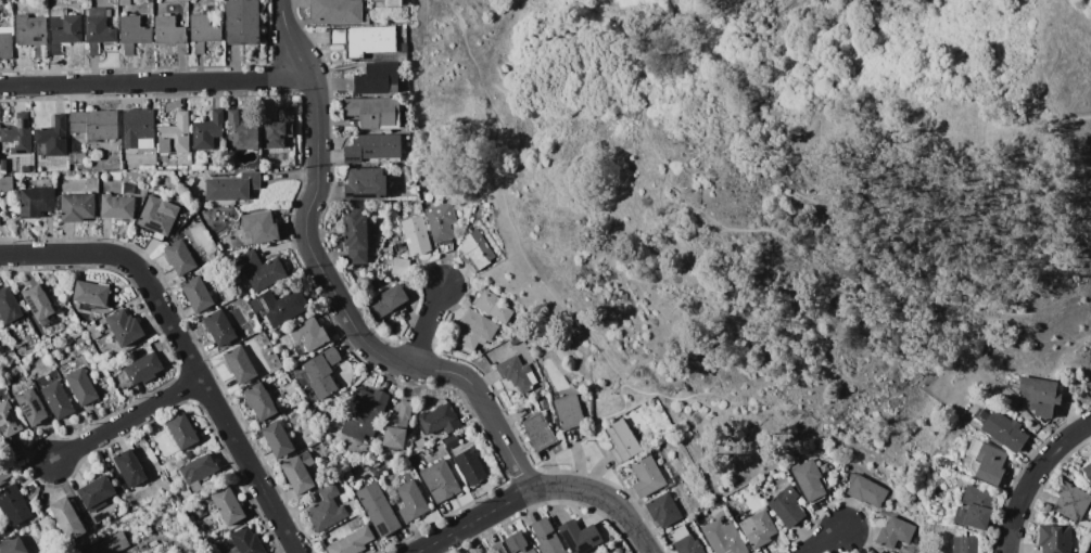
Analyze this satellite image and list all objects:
building: (389, 2)
building: (124, 3)
building: (195, 5)
building: (196, 11)
building: (335, 12)
building: (242, 22)
building: (65, 29)
building: (98, 29)
building: (203, 31)
building: (31, 33)
building: (132, 33)
building: (170, 33)
building: (364, 40)
building: (5, 42)
building: (377, 79)
road: (651, 81)
road: (155, 82)
building: (375, 113)
road: (1082, 117)
building: (94, 124)
building: (138, 128)
building: (207, 130)
building: (279, 130)
building: (241, 131)
building: (178, 132)
building: (18, 134)
building: (51, 138)
building: (164, 145)
building: (373, 147)
building: (77, 158)
building: (190, 163)
building: (90, 182)
building: (5, 183)
building: (365, 184)
building: (232, 187)
building: (128, 189)
park: (791, 200)
road: (798, 201)
building: (37, 202)
road: (505, 206)
building: (77, 207)
building: (117, 207)
building: (479, 211)
building: (182, 216)
building: (155, 217)
building: (489, 217)
building: (443, 227)
building: (259, 228)
building: (355, 235)
building: (415, 236)
building: (227, 241)
building: (477, 249)
building: (179, 257)
building: (261, 269)
building: (395, 270)
road: (334, 287)
building: (91, 293)
building: (196, 295)
building: (38, 301)
building: (386, 301)
building: (9, 306)
building: (230, 306)
building: (282, 306)
building: (493, 306)
road: (429, 325)
building: (125, 326)
building: (218, 327)
building: (475, 330)
building: (93, 331)
building: (308, 334)
building: (515, 340)
road: (185, 347)
building: (2, 349)
building: (240, 364)
road: (702, 366)
building: (143, 369)
building: (322, 373)
building: (517, 373)
building: (497, 385)
building: (81, 386)
building: (290, 388)
building: (1039, 396)
building: (58, 399)
building: (258, 401)
building: (543, 401)
building: (31, 406)
building: (570, 412)
building: (366, 414)
building: (980, 415)
building: (9, 420)
building: (439, 420)
road: (128, 422)
building: (396, 426)
building: (182, 430)
building: (1004, 430)
building: (538, 432)
road: (591, 434)
building: (276, 438)
building: (451, 441)
building: (622, 441)
building: (420, 442)
building: (989, 463)
building: (470, 466)
building: (129, 467)
building: (1088, 471)
building: (199, 472)
building: (300, 472)
building: (5, 475)
building: (647, 475)
building: (808, 478)
road: (1033, 478)
building: (440, 481)
building: (341, 483)
building: (866, 491)
building: (100, 494)
building: (411, 501)
building: (1071, 502)
building: (14, 504)
building: (228, 505)
building: (787, 506)
building: (974, 507)
building: (1048, 507)
building: (378, 509)
road: (499, 509)
building: (326, 510)
building: (663, 510)
building: (200, 513)
road: (624, 514)
building: (67, 517)
building: (99, 517)
building: (758, 528)
building: (5, 531)
building: (895, 532)
building: (546, 537)
building: (579, 537)
building: (724, 538)
building: (1054, 539)
building: (245, 541)
building: (685, 541)
road: (826, 541)
building: (352, 542)
building: (517, 542)
building: (111, 544)
building: (965, 544)
building: (13, 545)
building: (497, 548)
building: (881, 551)
building: (484, 552)

